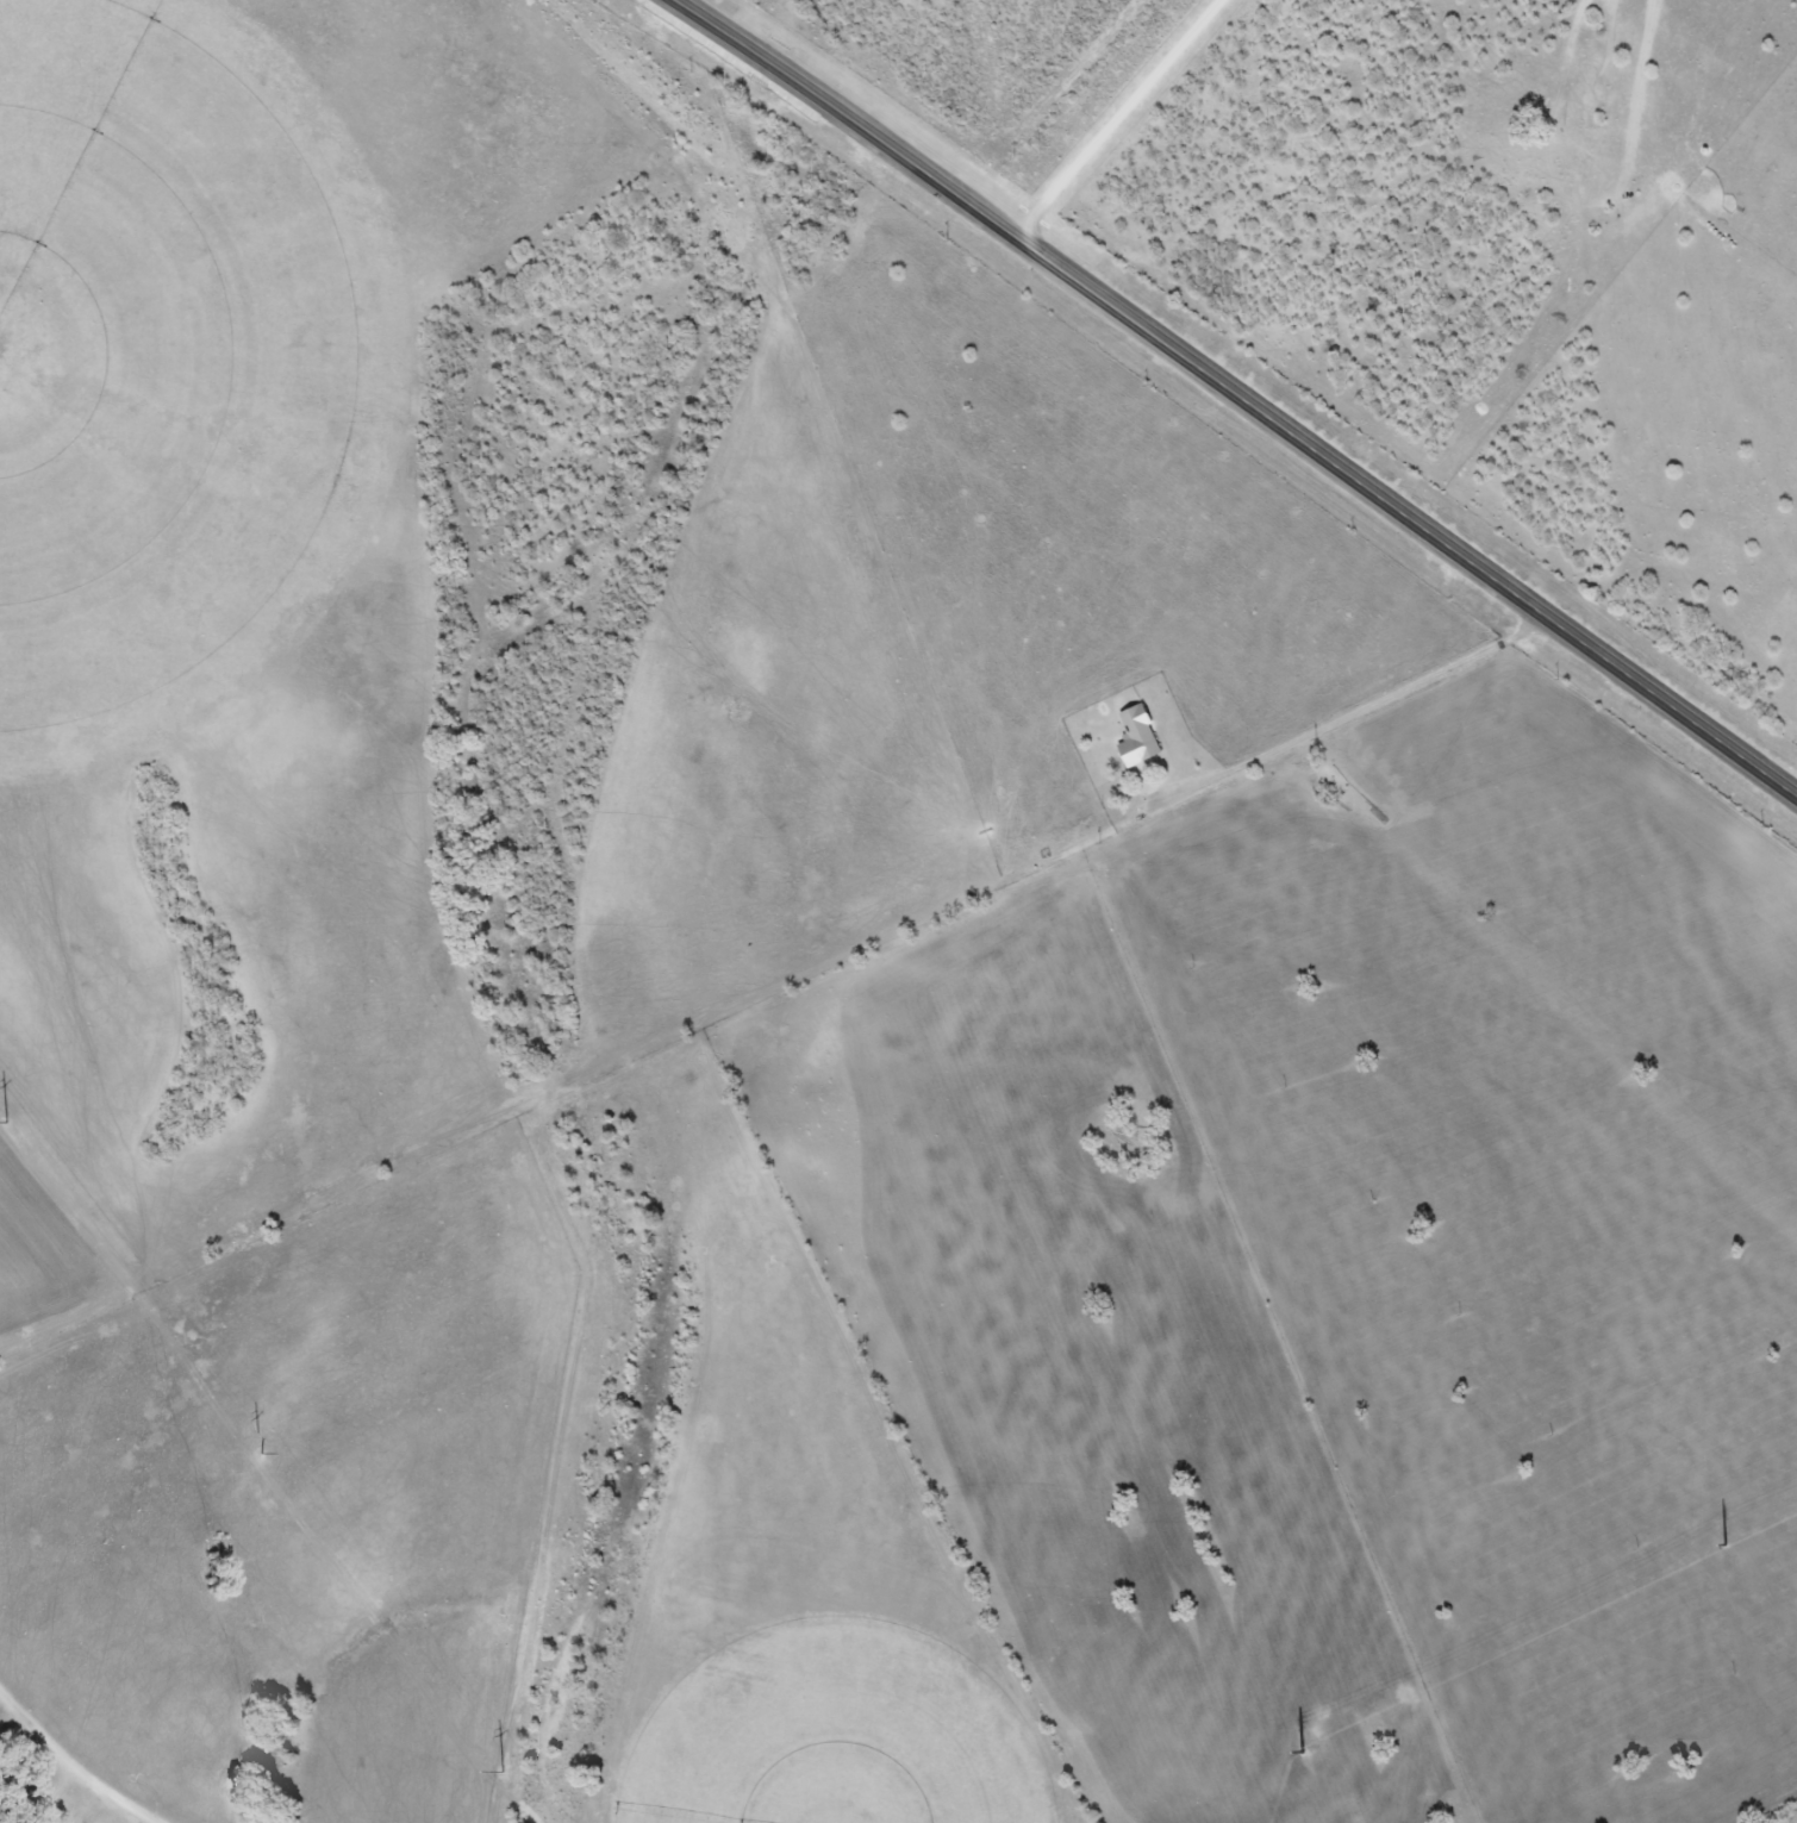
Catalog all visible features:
road: (1238, 391)
railway: (1199, 436)
building: (1136, 738)
power tower: (255, 1446)
power tower: (1734, 1546)
power tower: (1303, 1748)
road: (75, 1759)
power tower: (510, 1777)

